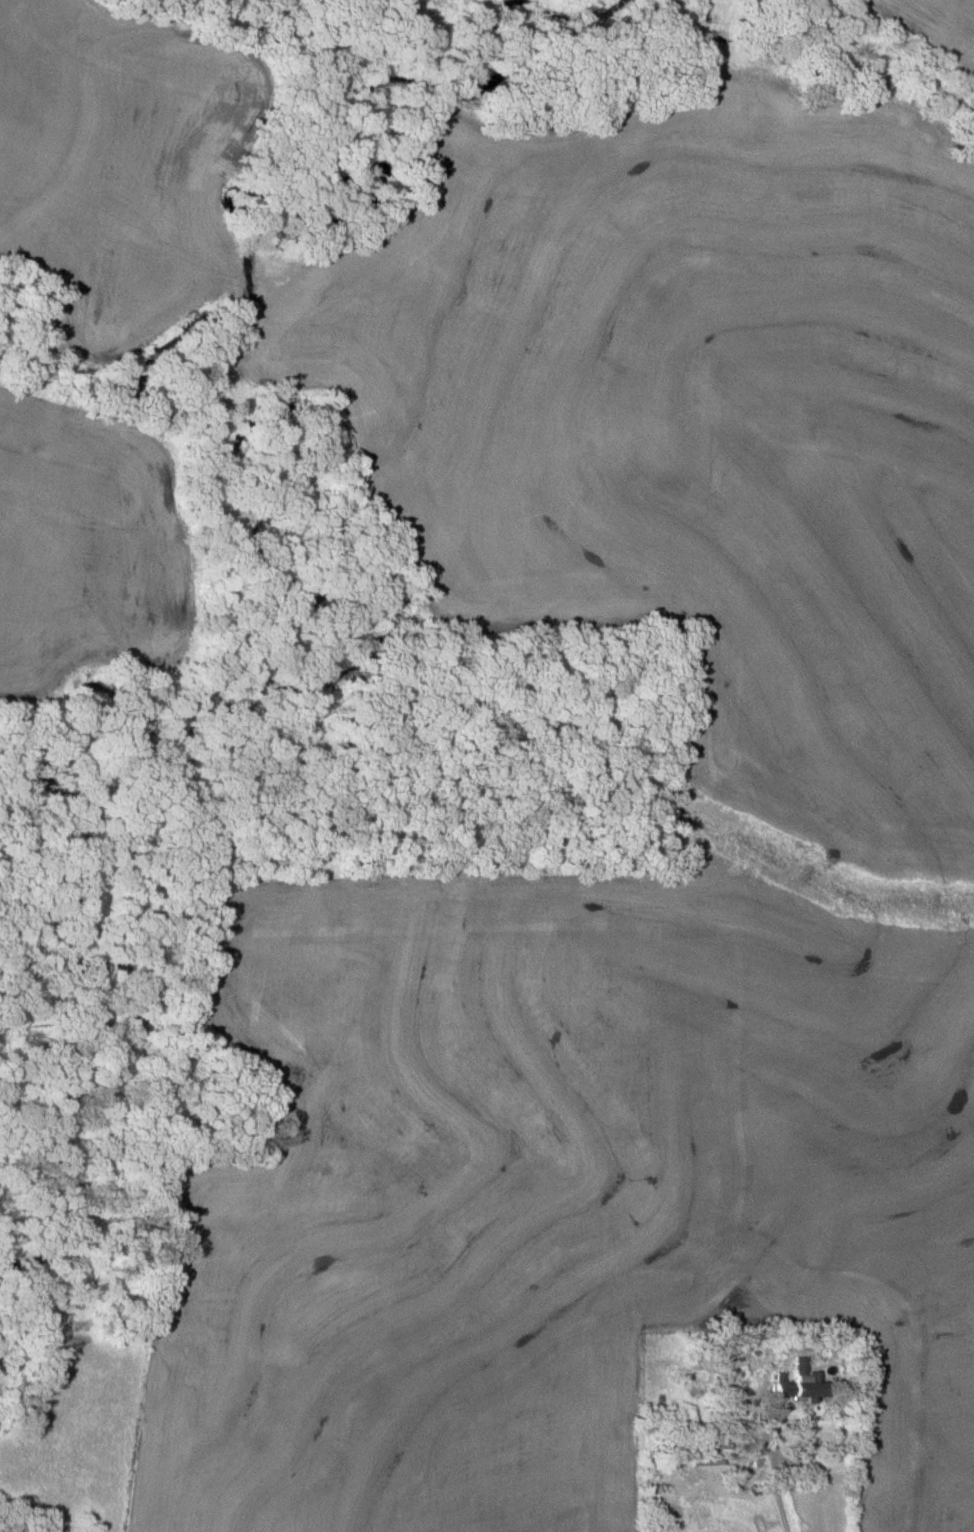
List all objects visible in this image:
building: (797, 1370)
building: (712, 1447)
road: (773, 1477)

